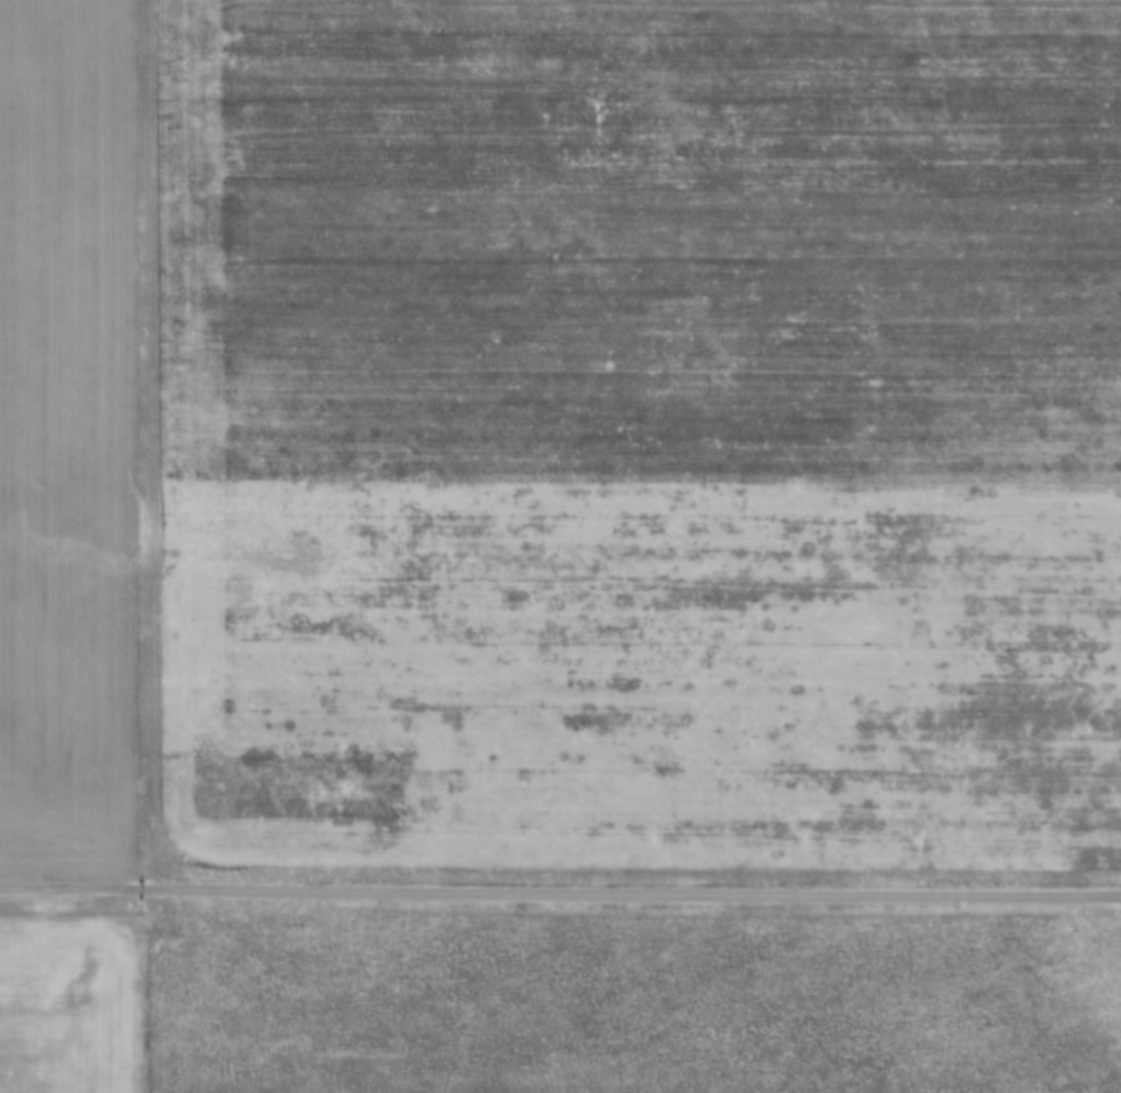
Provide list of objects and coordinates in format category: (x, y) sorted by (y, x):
road: (559, 891)

